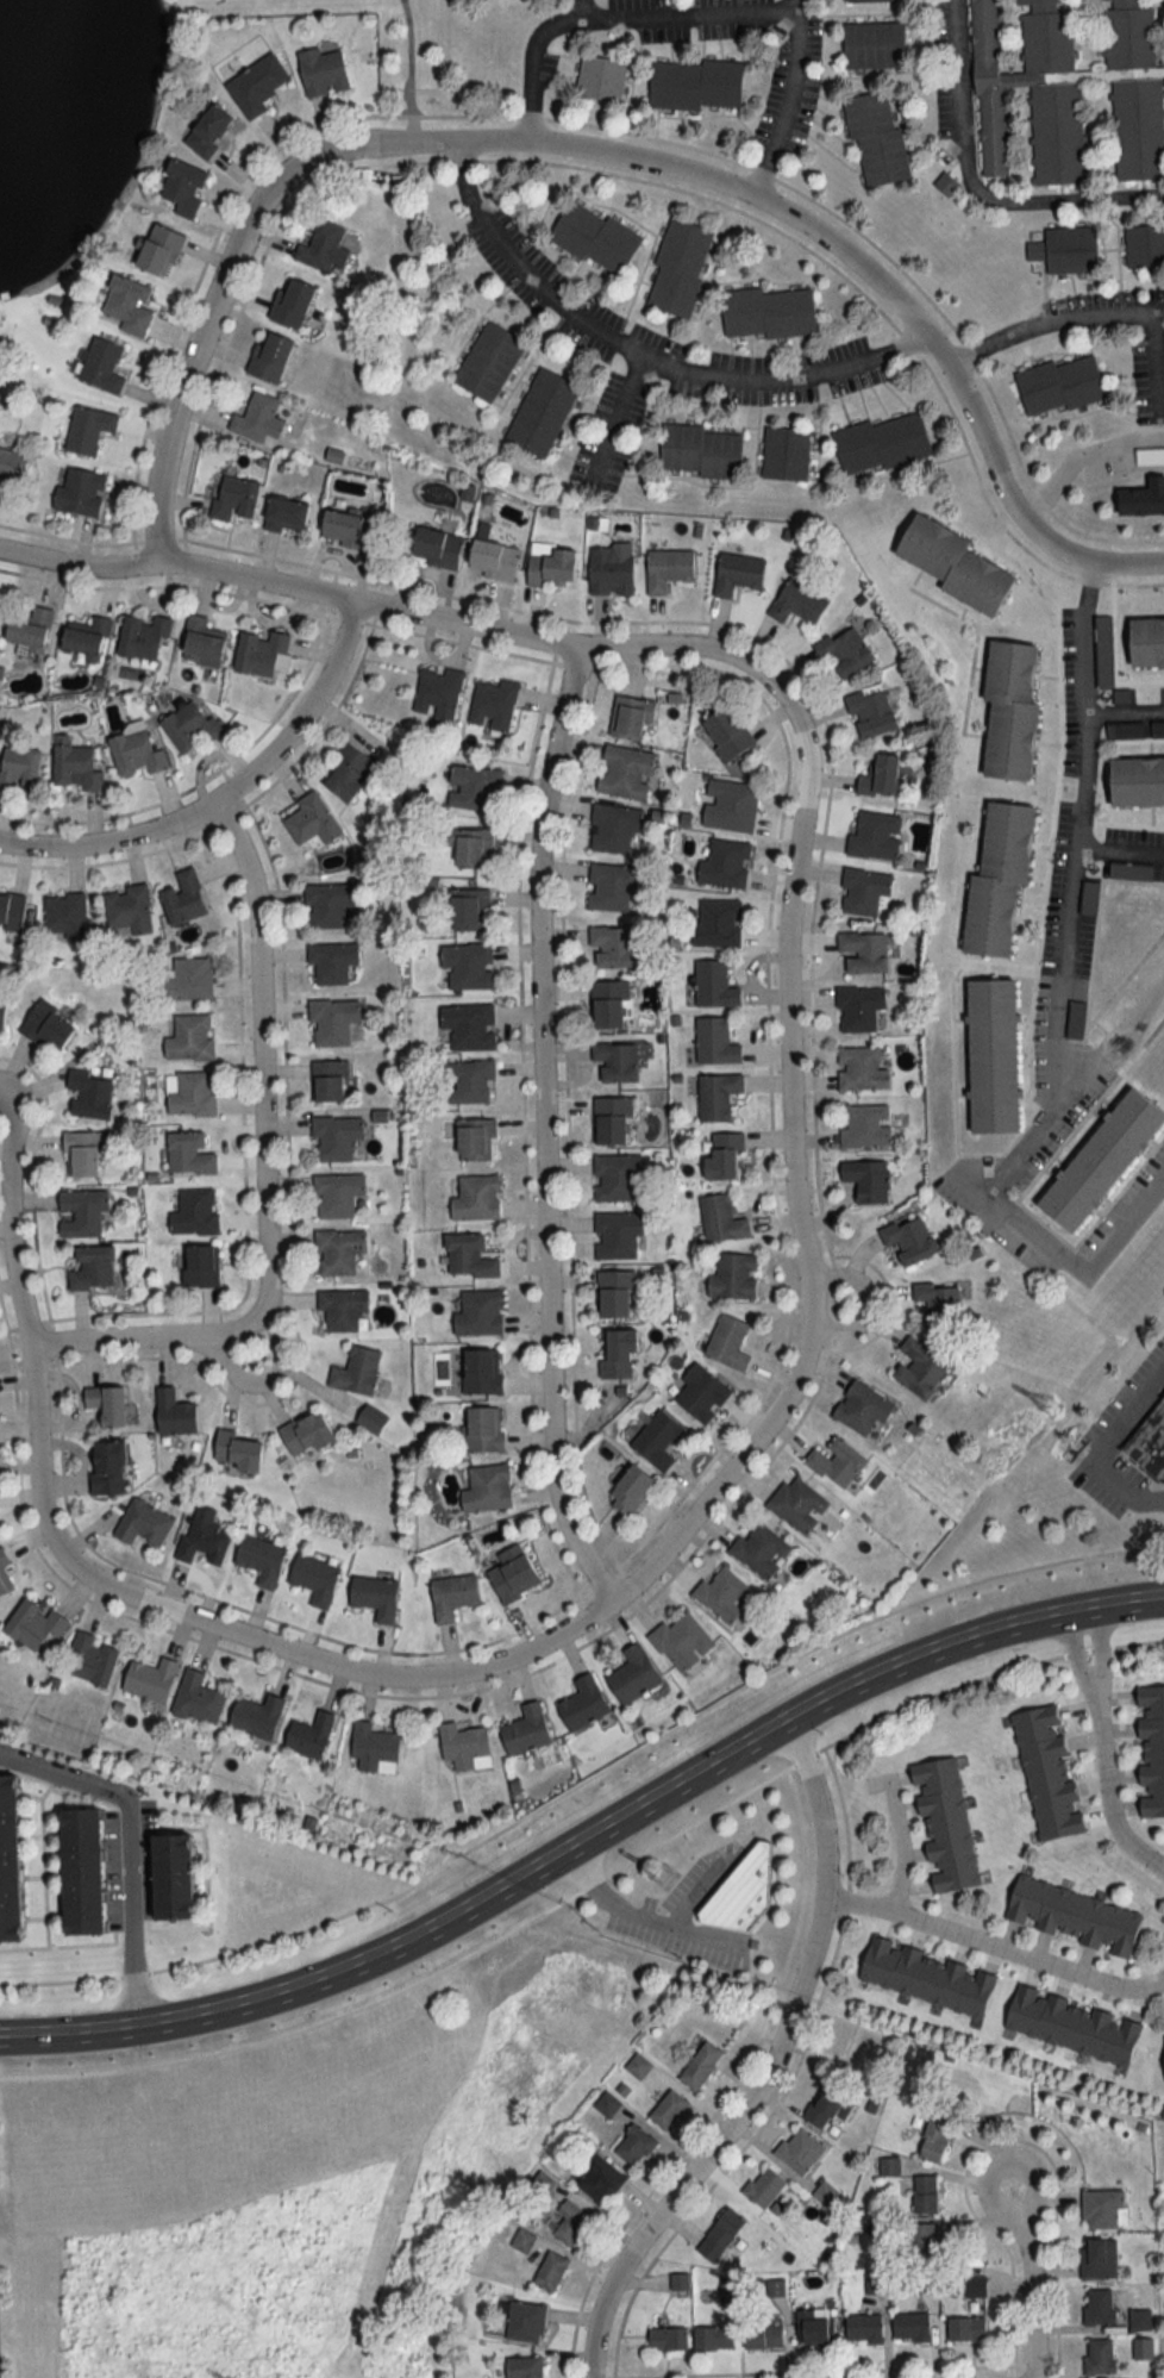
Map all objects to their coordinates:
building: (865, 1)
road: (608, 17)
building: (874, 45)
road: (408, 70)
building: (323, 71)
building: (600, 77)
building: (256, 85)
building: (695, 85)
road: (787, 101)
building: (208, 130)
building: (876, 139)
road: (602, 152)
building: (945, 183)
building: (181, 188)
road: (975, 189)
building: (595, 238)
building: (1144, 245)
building: (323, 248)
building: (1070, 249)
building: (158, 250)
building: (678, 267)
building: (292, 304)
building: (129, 305)
building: (766, 313)
building: (269, 357)
building: (488, 362)
building: (101, 366)
road: (1156, 366)
road: (755, 381)
building: (1059, 386)
building: (542, 413)
road: (618, 414)
building: (257, 418)
building: (88, 427)
building: (881, 443)
building: (700, 451)
building: (786, 454)
road: (1078, 454)
building: (12, 463)
building: (80, 491)
building: (234, 497)
building: (1144, 499)
building: (286, 514)
building: (344, 528)
building: (437, 547)
building: (493, 558)
building: (951, 560)
building: (551, 567)
building: (611, 568)
building: (668, 568)
building: (738, 572)
building: (797, 601)
road: (392, 608)
building: (30, 629)
building: (87, 637)
building: (144, 637)
building: (1145, 638)
building: (201, 643)
building: (262, 653)
building: (844, 653)
building: (438, 693)
building: (493, 703)
building: (1007, 707)
road: (1125, 709)
building: (870, 711)
building: (631, 717)
building: (189, 726)
building: (1157, 728)
building: (1124, 729)
building: (726, 732)
building: (136, 753)
building: (76, 767)
building: (19, 768)
building: (625, 772)
building: (349, 773)
building: (880, 775)
building: (1134, 776)
building: (473, 788)
road: (223, 791)
building: (730, 806)
building: (312, 820)
building: (613, 829)
road: (1076, 834)
building: (875, 836)
building: (469, 845)
road: (1119, 853)
building: (725, 865)
building: (995, 874)
building: (611, 886)
building: (864, 892)
building: (183, 897)
building: (328, 904)
building: (12, 910)
building: (127, 910)
building: (469, 910)
building: (64, 917)
building: (718, 923)
building: (612, 947)
building: (863, 951)
building: (331, 961)
building: (468, 965)
building: (189, 979)
building: (714, 984)
building: (609, 1003)
building: (858, 1006)
building: (2, 1011)
building: (332, 1021)
building: (48, 1025)
building: (469, 1025)
building: (190, 1038)
building: (715, 1041)
building: (988, 1051)
building: (614, 1062)
building: (861, 1069)
building: (330, 1080)
building: (469, 1081)
building: (90, 1094)
building: (192, 1094)
building: (716, 1096)
building: (612, 1121)
building: (865, 1126)
road: (1035, 1128)
road: (539, 1129)
building: (334, 1137)
building: (475, 1138)
building: (189, 1153)
building: (82, 1154)
building: (724, 1156)
building: (1099, 1156)
road: (261, 1169)
building: (617, 1178)
building: (866, 1179)
building: (336, 1194)
building: (474, 1198)
building: (81, 1212)
building: (195, 1212)
building: (720, 1218)
road: (7, 1230)
building: (617, 1235)
building: (909, 1241)
building: (338, 1250)
building: (468, 1256)
road: (1070, 1263)
building: (201, 1266)
building: (93, 1268)
building: (733, 1275)
building: (615, 1293)
road: (861, 1302)
building: (937, 1304)
building: (342, 1309)
building: (478, 1312)
building: (727, 1342)
building: (618, 1353)
building: (919, 1368)
building: (356, 1371)
building: (482, 1372)
road: (268, 1381)
building: (701, 1393)
building: (1162, 1393)
building: (107, 1404)
building: (862, 1408)
building: (174, 1412)
building: (371, 1419)
building: (483, 1429)
building: (306, 1434)
building: (1147, 1438)
building: (656, 1440)
road: (1103, 1446)
building: (236, 1450)
building: (836, 1463)
building: (107, 1467)
building: (487, 1488)
building: (631, 1490)
building: (797, 1504)
building: (143, 1523)
road: (674, 1535)
building: (204, 1536)
building: (759, 1550)
building: (261, 1559)
building: (513, 1573)
building: (4, 1574)
building: (314, 1579)
building: (724, 1593)
building: (452, 1594)
building: (375, 1597)
building: (35, 1627)
building: (681, 1640)
building: (90, 1660)
building: (633, 1674)
building: (150, 1679)
building: (198, 1699)
building: (583, 1703)
building: (256, 1716)
building: (526, 1730)
building: (309, 1735)
building: (373, 1747)
building: (464, 1747)
road: (1102, 1747)
building: (1151, 1750)
building: (1046, 1773)
road: (584, 1780)
building: (945, 1824)
road: (586, 1830)
road: (130, 1841)
road: (905, 1846)
building: (8, 1861)
building: (82, 1872)
building: (173, 1877)
building: (741, 1890)
road: (847, 1914)
road: (628, 1916)
building: (1072, 1916)
road: (993, 1948)
building: (927, 1977)
building: (1072, 2026)
building: (700, 2065)
building: (638, 2066)
road: (770, 2067)
building: (668, 2109)
building: (827, 2109)
building: (935, 2133)
building: (633, 2146)
building: (800, 2151)
building: (599, 2179)
building: (764, 2187)
building: (825, 2193)
building: (925, 2195)
building: (1102, 2209)
building: (571, 2222)
building: (721, 2234)
building: (931, 2246)
building: (1099, 2259)
building: (550, 2271)
road: (1031, 2279)
building: (925, 2280)
building: (678, 2282)
building: (975, 2286)
building: (1099, 2307)
building: (524, 2321)
building: (815, 2326)
building: (910, 2327)
building: (863, 2328)
building: (966, 2329)
building: (763, 2336)
building: (713, 2338)
building: (668, 2339)
building: (1100, 2357)
building: (524, 2367)

